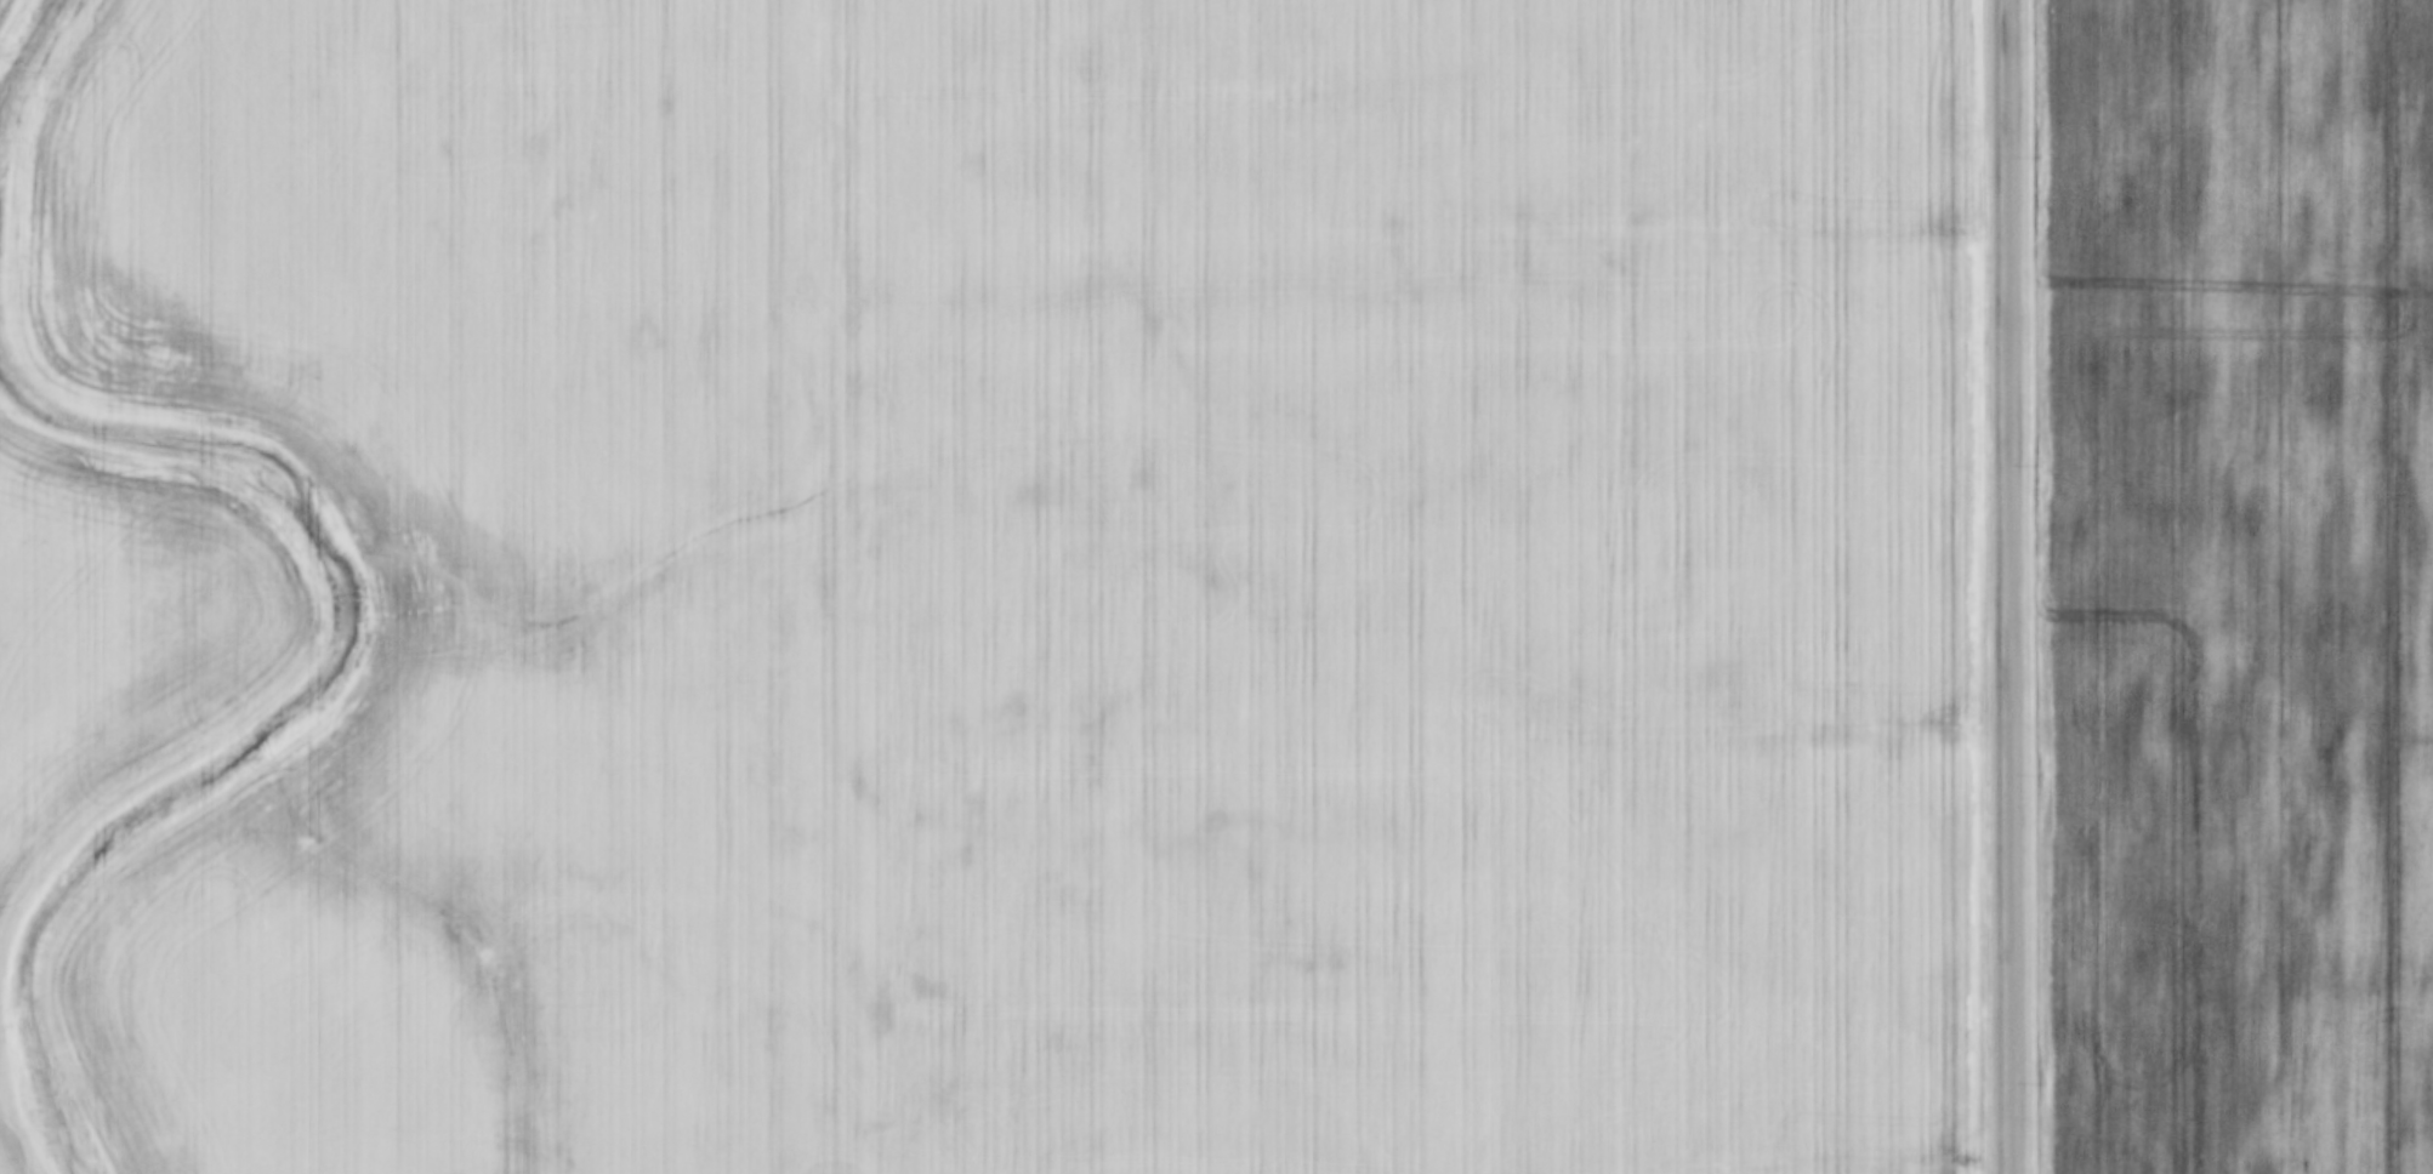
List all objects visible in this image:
road: (2017, 586)

